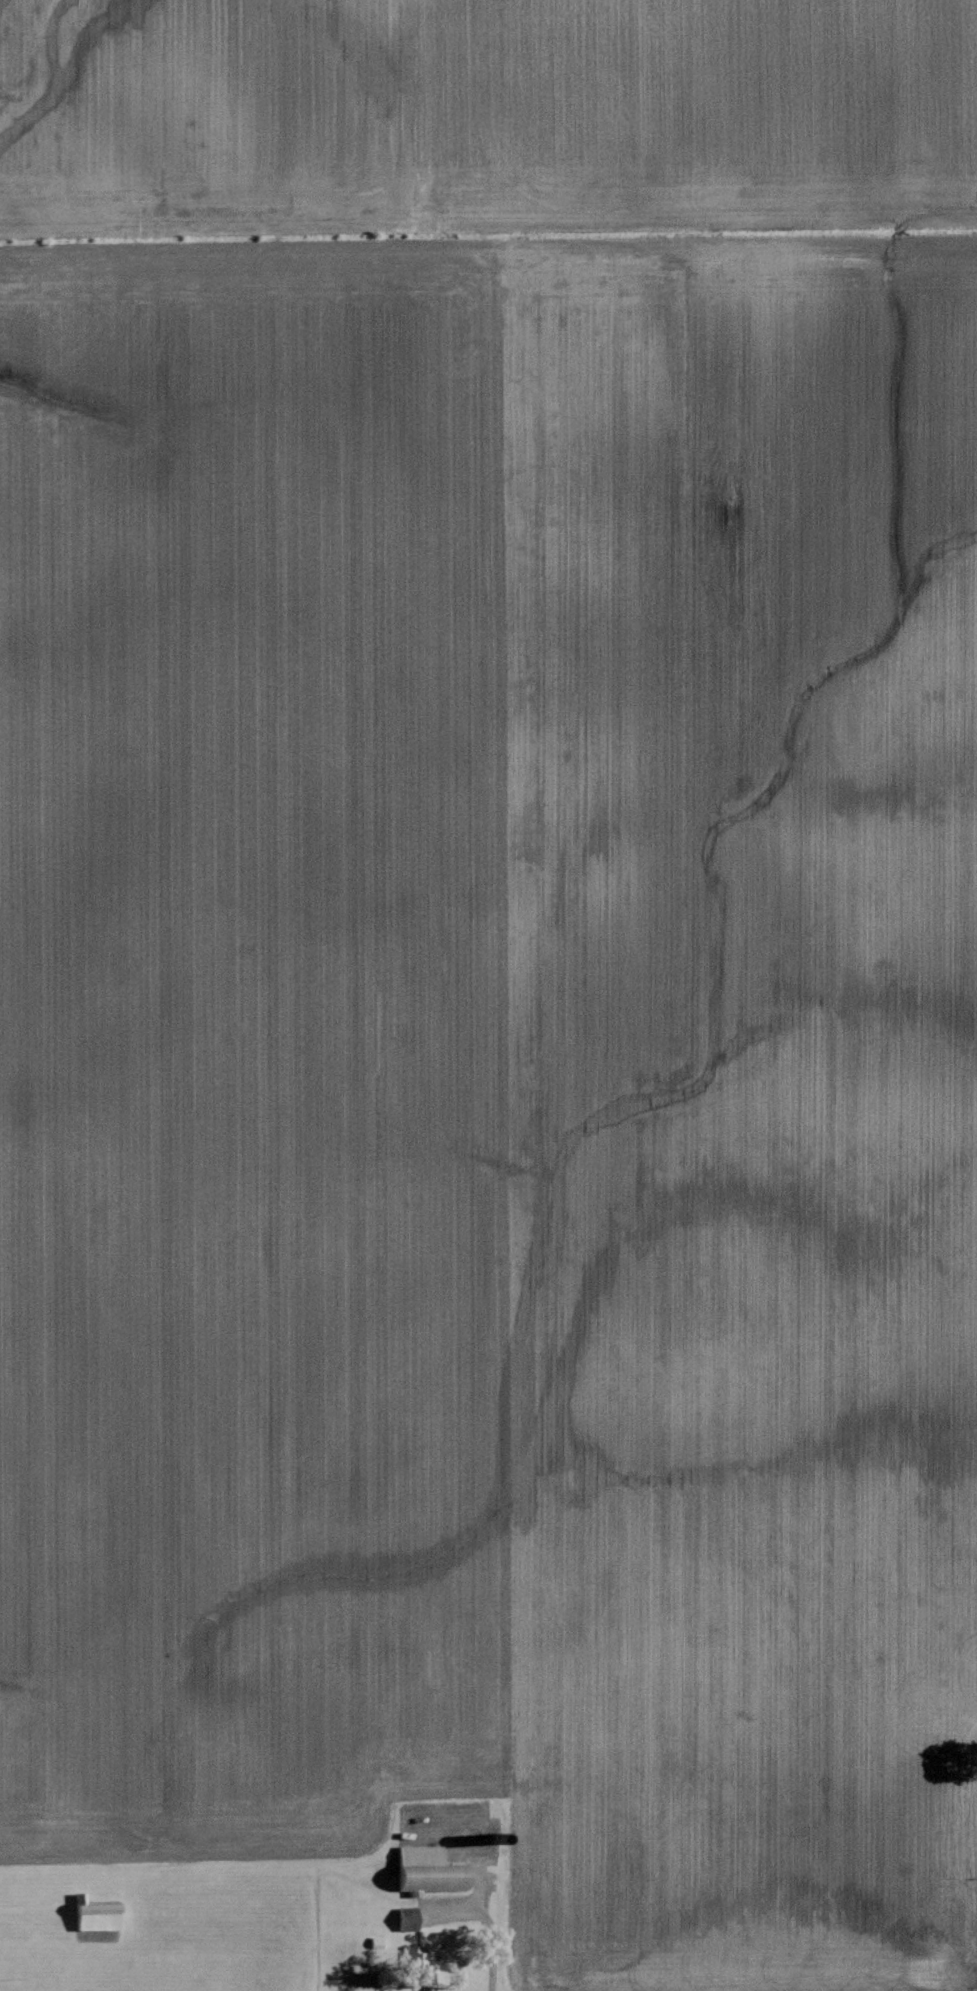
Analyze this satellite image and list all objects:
crop: (496, 961)

